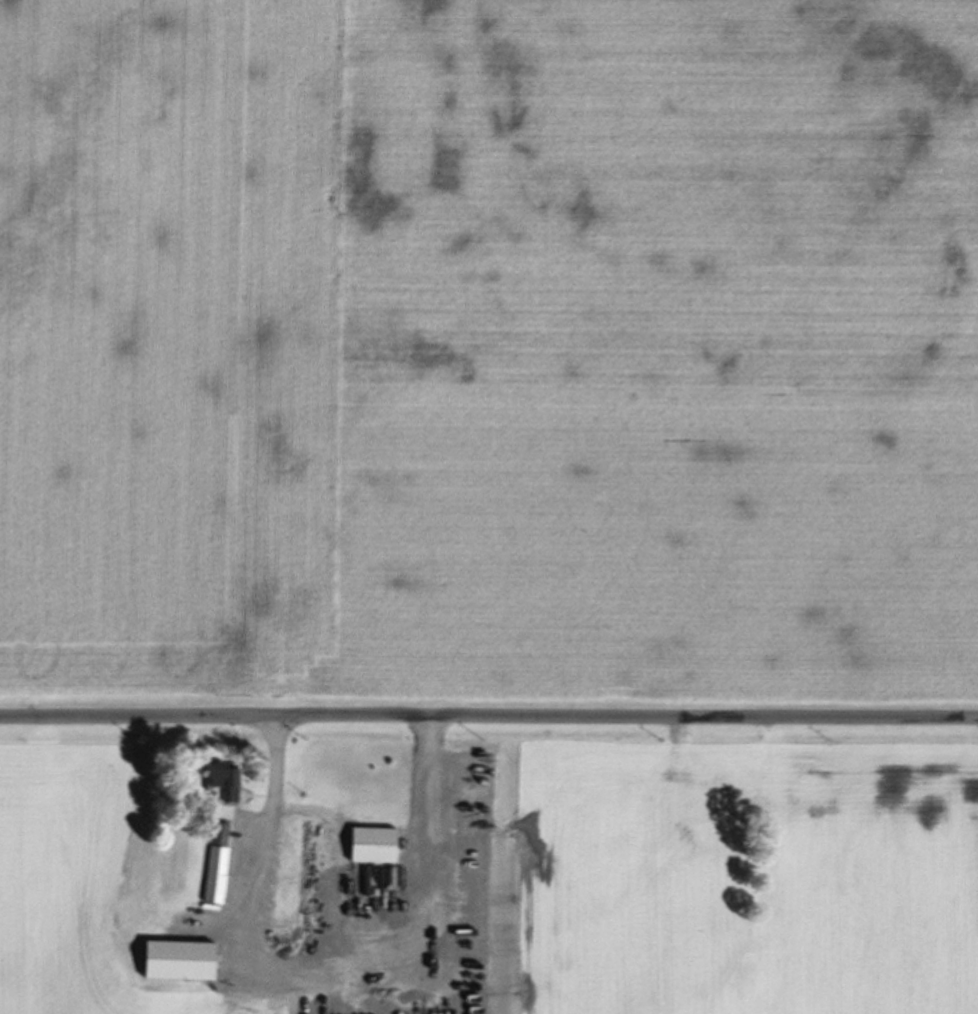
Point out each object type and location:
road: (488, 717)
building: (218, 782)
building: (670, 824)
building: (217, 830)
building: (370, 848)
building: (212, 876)
building: (173, 963)
road: (316, 968)

